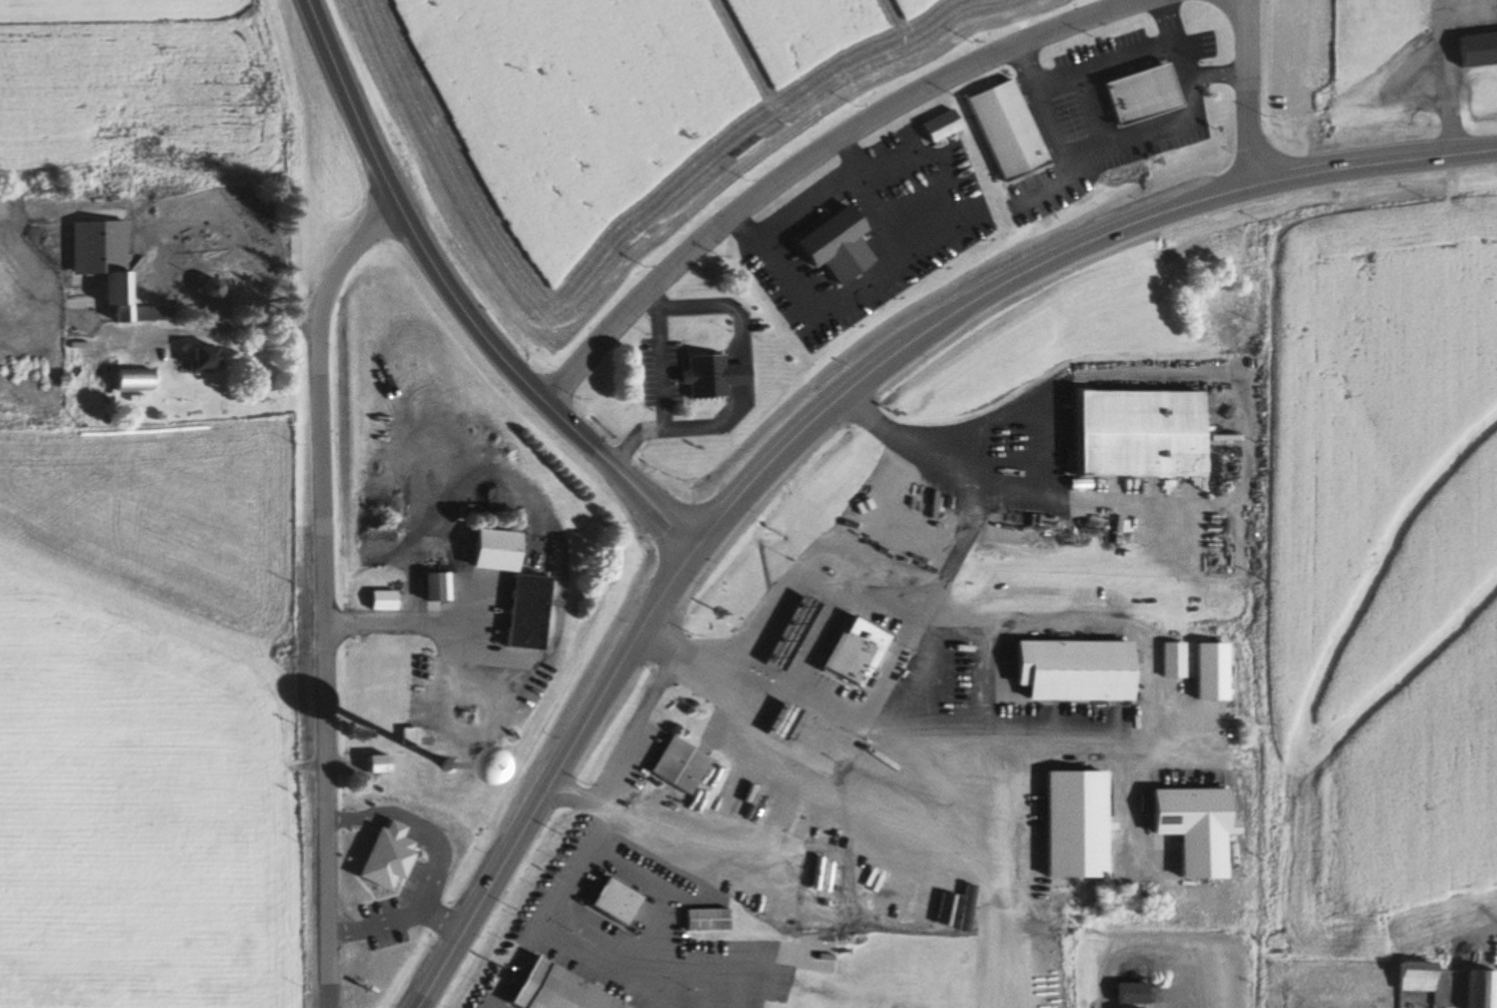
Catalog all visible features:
road: (1115, 6)
building: (1473, 48)
road: (1440, 64)
road: (1100, 66)
road: (1214, 73)
road: (1248, 93)
building: (1135, 95)
road: (1090, 111)
building: (937, 127)
building: (1003, 130)
road: (1117, 142)
road: (823, 155)
road: (1040, 189)
building: (830, 246)
building: (204, 289)
building: (123, 301)
road: (461, 306)
road: (950, 315)
road: (232, 321)
building: (194, 360)
building: (707, 376)
building: (130, 380)
road: (1235, 388)
building: (1131, 431)
road: (950, 561)
building: (426, 586)
building: (509, 587)
road: (320, 596)
building: (380, 600)
road: (399, 620)
building: (785, 632)
building: (842, 656)
building: (1167, 659)
road: (885, 668)
building: (1066, 669)
building: (775, 720)
road: (1015, 725)
building: (389, 753)
building: (673, 764)
water tower: (451, 767)
building: (1179, 811)
building: (1068, 822)
building: (369, 857)
road: (782, 860)
road: (979, 868)
road: (494, 876)
building: (701, 919)
building: (746, 952)
building: (881, 953)
building: (1409, 976)
building: (1478, 988)
building: (550, 990)
building: (1123, 993)

